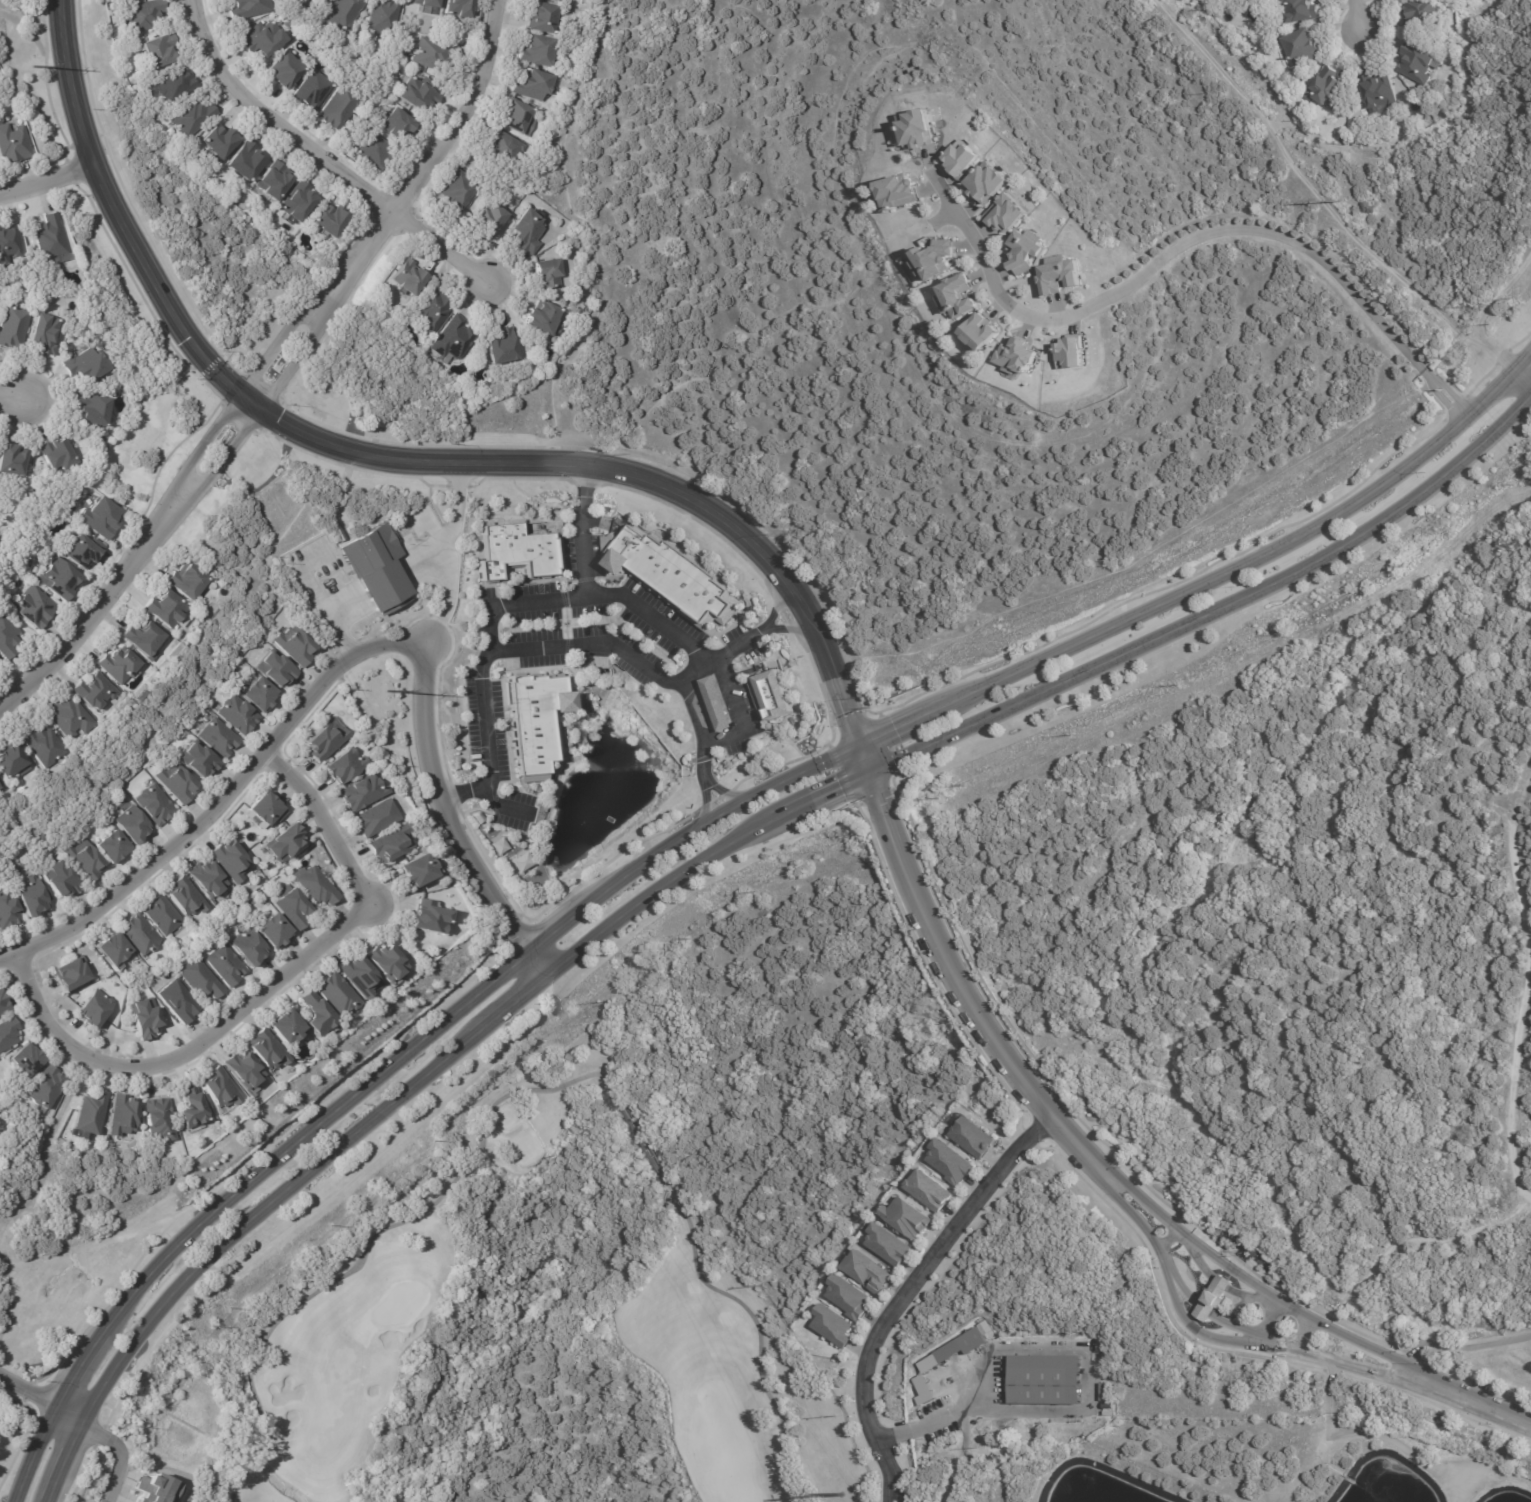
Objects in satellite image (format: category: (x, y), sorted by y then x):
building: (554, 0)
building: (559, 0)
building: (430, 3)
building: (253, 8)
building: (462, 8)
building: (346, 13)
building: (1296, 13)
road: (1353, 13)
building: (147, 14)
building: (1419, 15)
building: (388, 16)
building: (548, 17)
building: (267, 38)
building: (165, 50)
building: (1300, 50)
building: (543, 51)
building: (436, 53)
building: (1415, 66)
power tower: (31, 67)
building: (286, 69)
building: (178, 84)
building: (538, 84)
building: (315, 90)
building: (420, 92)
building: (1328, 92)
building: (1377, 95)
building: (343, 108)
building: (194, 117)
building: (520, 118)
building: (400, 124)
building: (915, 128)
building: (223, 140)
building: (14, 145)
building: (511, 146)
building: (376, 150)
road: (318, 157)
building: (961, 158)
building: (248, 161)
road: (44, 179)
building: (277, 181)
building: (984, 182)
building: (897, 187)
building: (461, 192)
building: (301, 201)
power tower: (1338, 201)
building: (1003, 212)
building: (493, 216)
road: (114, 217)
building: (330, 218)
road: (942, 218)
building: (525, 230)
building: (51, 238)
road: (1184, 238)
building: (11, 244)
building: (933, 251)
building: (1022, 251)
building: (1057, 273)
building: (549, 274)
building: (411, 277)
building: (958, 292)
building: (433, 310)
building: (543, 316)
building: (978, 326)
building: (14, 327)
building: (48, 334)
building: (454, 339)
building: (503, 348)
building: (1069, 352)
building: (1015, 356)
building: (87, 366)
road: (272, 367)
road: (1521, 379)
road: (12, 397)
building: (97, 410)
building: (61, 455)
building: (16, 462)
road: (629, 478)
building: (102, 518)
building: (337, 533)
building: (85, 552)
building: (517, 552)
road: (442, 555)
building: (374, 571)
building: (674, 579)
building: (62, 581)
building: (191, 583)
building: (37, 608)
building: (167, 609)
road: (492, 615)
parking lot: (656, 620)
road: (760, 630)
building: (9, 637)
building: (147, 641)
building: (296, 645)
road: (634, 660)
building: (0, 665)
road: (714, 665)
building: (121, 666)
building: (279, 667)
road: (341, 667)
power tower: (386, 690)
building: (96, 692)
building: (771, 692)
building: (264, 693)
building: (716, 704)
building: (239, 714)
building: (532, 718)
building: (72, 719)
building: (220, 737)
building: (327, 740)
building: (46, 747)
parking lot: (494, 754)
building: (203, 759)
building: (14, 763)
building: (350, 766)
road: (707, 781)
building: (179, 784)
building: (0, 789)
road: (465, 791)
building: (363, 793)
building: (157, 805)
building: (268, 809)
building: (380, 817)
building: (135, 826)
road: (698, 832)
building: (288, 843)
building: (392, 845)
building: (114, 846)
road: (714, 856)
building: (88, 860)
building: (235, 860)
building: (417, 871)
building: (63, 879)
building: (211, 880)
building: (317, 885)
building: (33, 898)
building: (189, 901)
building: (297, 906)
building: (10, 909)
building: (165, 915)
building: (424, 918)
building: (278, 930)
building: (143, 934)
building: (251, 947)
building: (115, 949)
building: (392, 962)
building: (227, 965)
building: (73, 974)
building: (362, 976)
building: (200, 979)
road: (961, 984)
road: (1524, 985)
road: (263, 992)
building: (342, 994)
building: (180, 1001)
building: (5, 1003)
building: (96, 1009)
building: (319, 1013)
building: (147, 1019)
building: (289, 1027)
building: (8, 1034)
building: (271, 1049)
building: (29, 1060)
building: (247, 1070)
building: (48, 1087)
building: (221, 1088)
building: (195, 1106)
building: (92, 1112)
building: (124, 1115)
building: (161, 1120)
building: (970, 1135)
building: (949, 1162)
building: (926, 1188)
building: (905, 1215)
road: (1166, 1239)
building: (885, 1243)
park: (388, 1268)
building: (865, 1272)
road: (1173, 1274)
road: (1245, 1278)
road: (902, 1285)
building: (845, 1296)
building: (1212, 1297)
road: (1270, 1317)
building: (830, 1325)
road: (1240, 1328)
road: (1207, 1333)
road: (1303, 1335)
building: (961, 1345)
road: (1460, 1348)
building: (1044, 1379)
building: (1102, 1391)
building: (1001, 1398)
road: (41, 1399)
road: (1466, 1400)
road: (1088, 1403)
road: (117, 1455)
building: (158, 1489)
power tower: (841, 1496)

